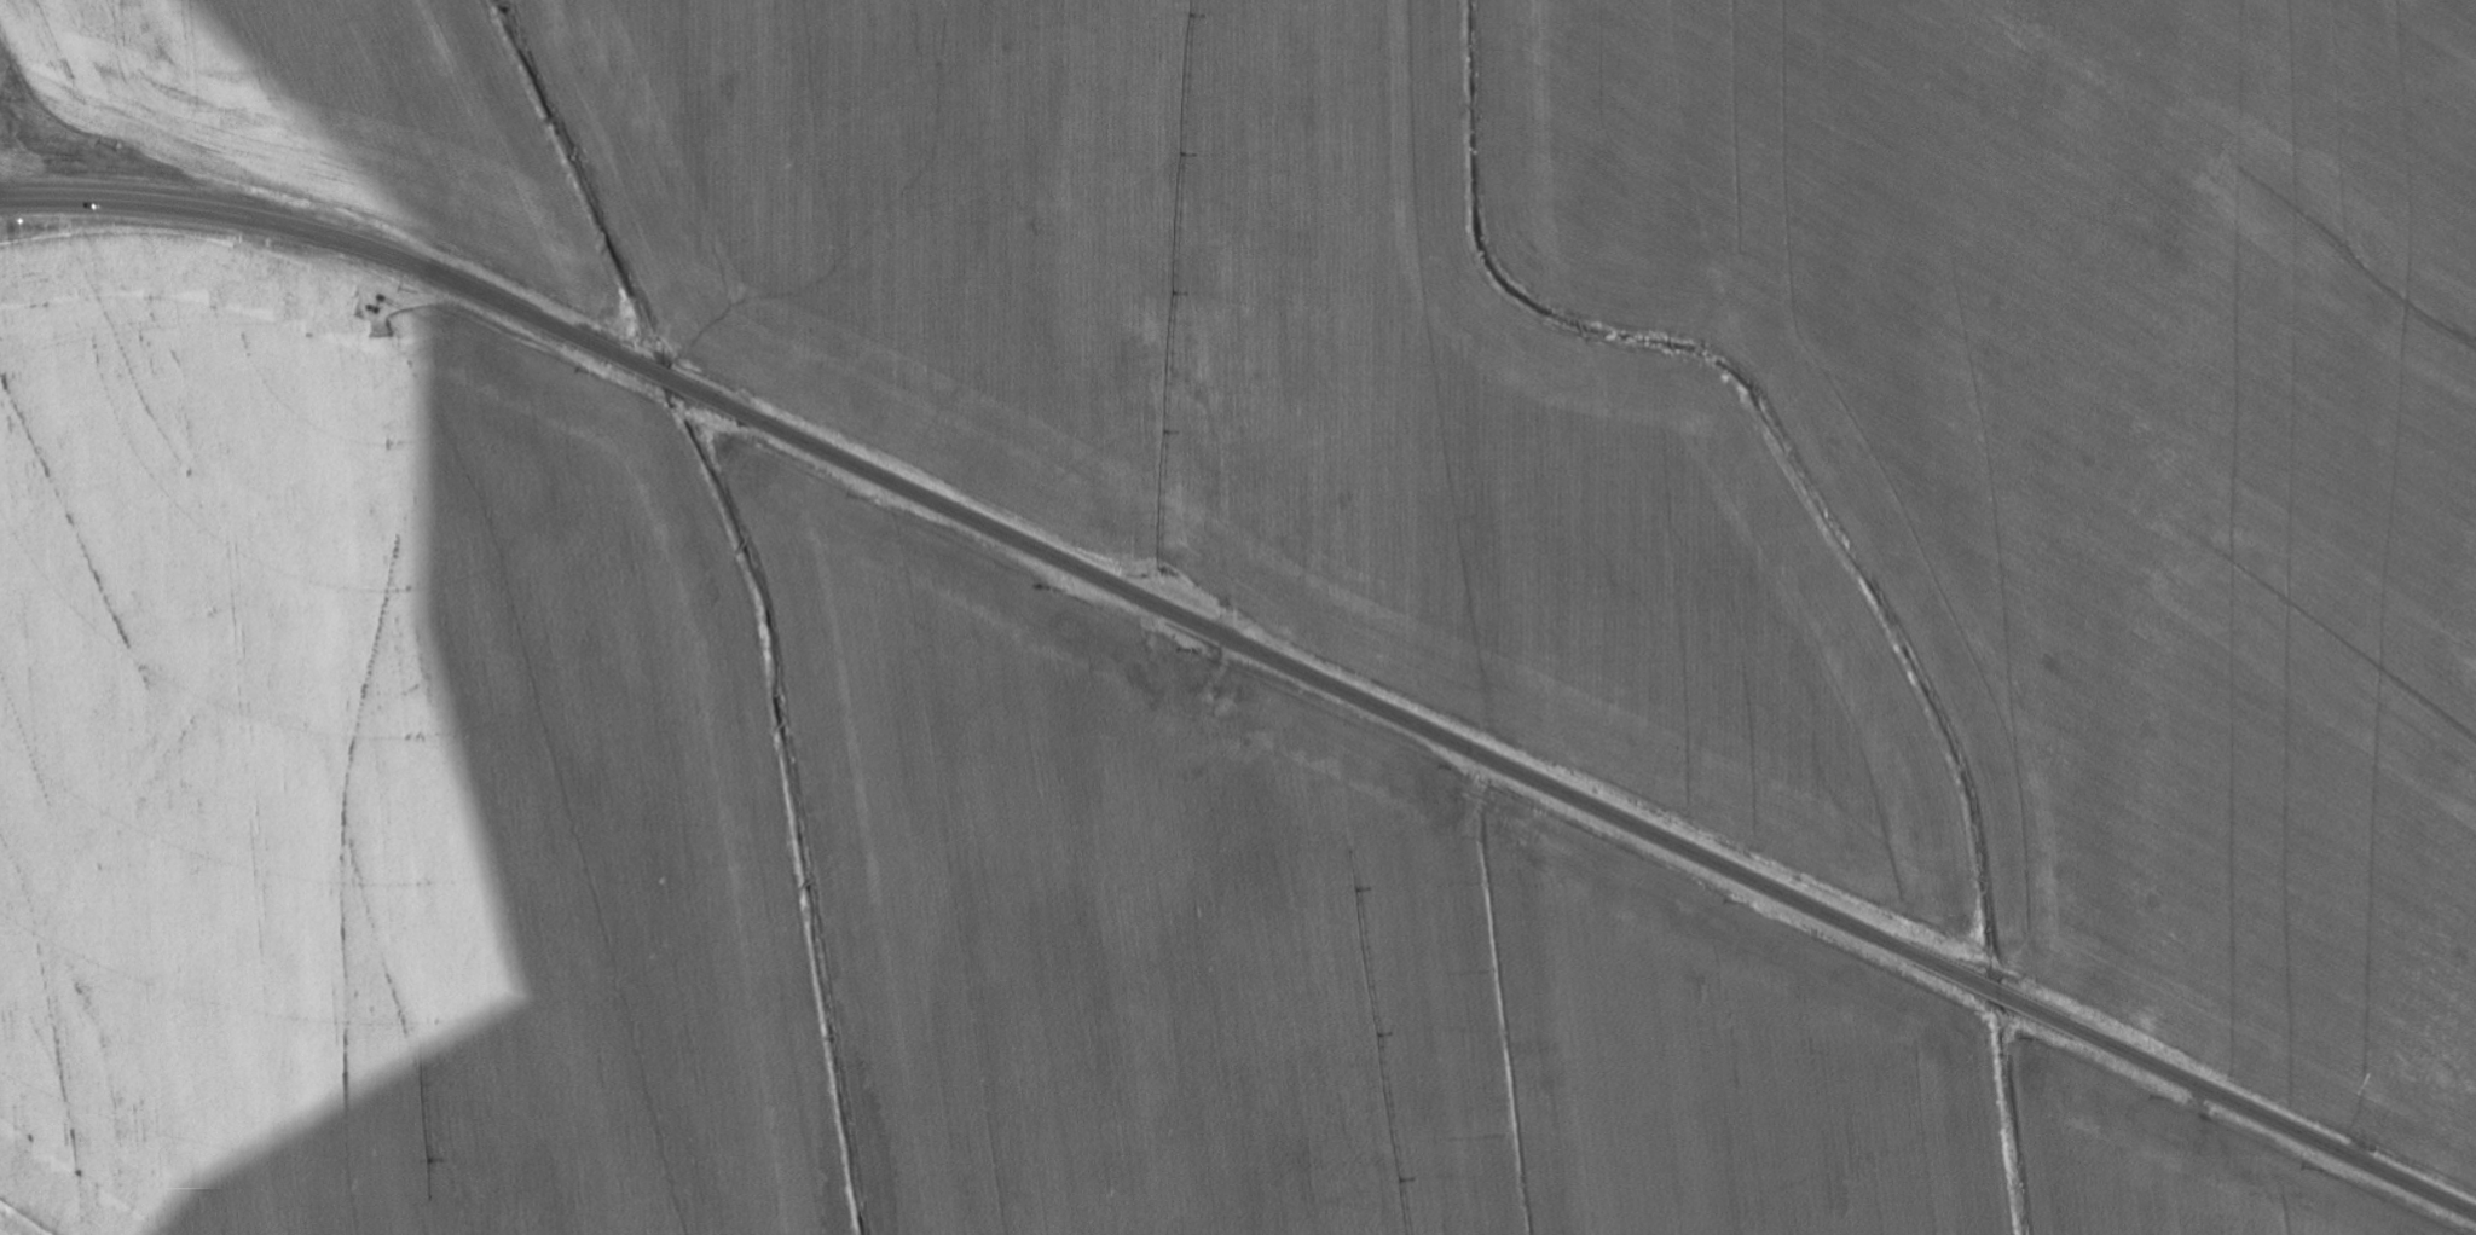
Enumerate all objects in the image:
road: (1255, 650)

